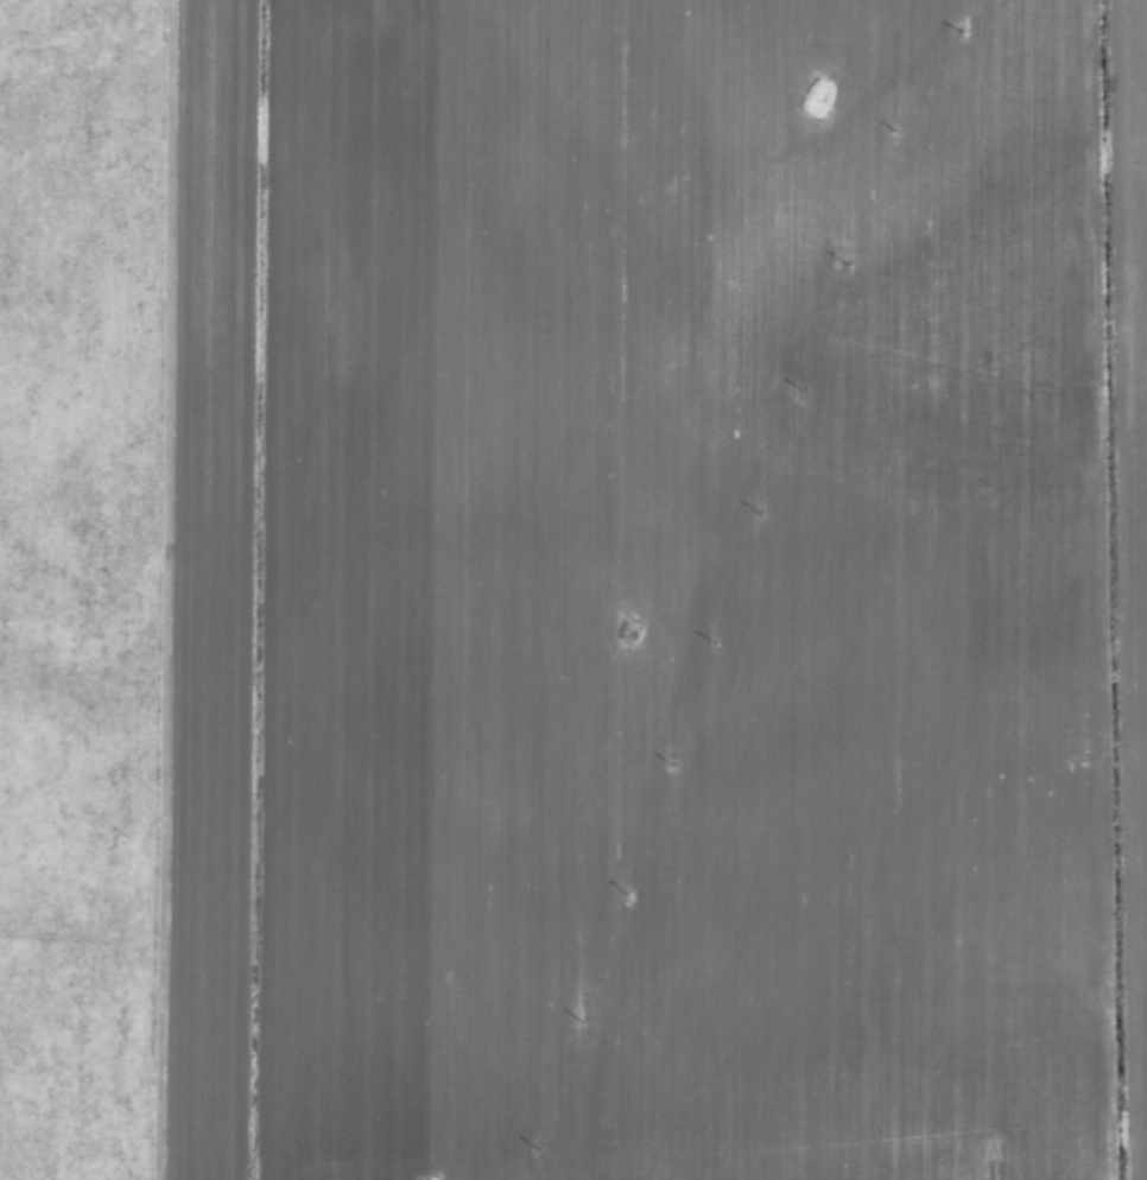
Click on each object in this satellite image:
crop: (573, 590)

